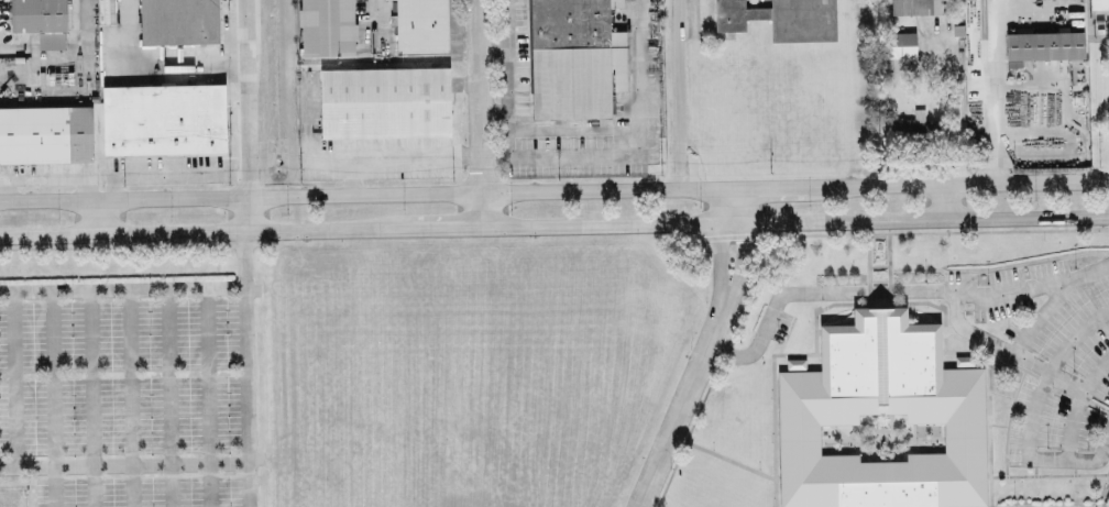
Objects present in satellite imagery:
building: (1099, 3)
building: (916, 5)
building: (782, 18)
building: (41, 20)
building: (179, 21)
road: (371, 25)
building: (421, 25)
building: (327, 26)
road: (491, 38)
building: (899, 43)
building: (1044, 44)
helipad: (1046, 49)
building: (574, 59)
road: (508, 77)
road: (995, 90)
road: (676, 93)
road: (241, 96)
building: (383, 102)
road: (493, 102)
road: (477, 112)
building: (164, 118)
road: (573, 126)
building: (46, 132)
road: (633, 151)
road: (349, 159)
road: (167, 172)
road: (350, 175)
road: (44, 177)
road: (975, 179)
road: (782, 185)
road: (361, 190)
road: (943, 199)
road: (746, 205)
road: (244, 212)
road: (99, 217)
road: (794, 221)
road: (435, 227)
road: (970, 231)
road: (194, 232)
road: (718, 250)
road: (890, 267)
road: (999, 268)
road: (740, 269)
road: (867, 272)
road: (746, 287)
road: (122, 288)
road: (893, 290)
road: (868, 291)
road: (866, 302)
road: (1044, 310)
road: (1006, 348)
building: (964, 360)
road: (1047, 368)
road: (245, 370)
road: (13, 377)
building: (880, 388)
road: (90, 397)
road: (128, 397)
road: (167, 397)
road: (206, 397)
road: (52, 398)
road: (1077, 403)
road: (684, 410)
road: (694, 443)
road: (1074, 458)
road: (123, 463)
road: (1048, 474)
road: (989, 492)

